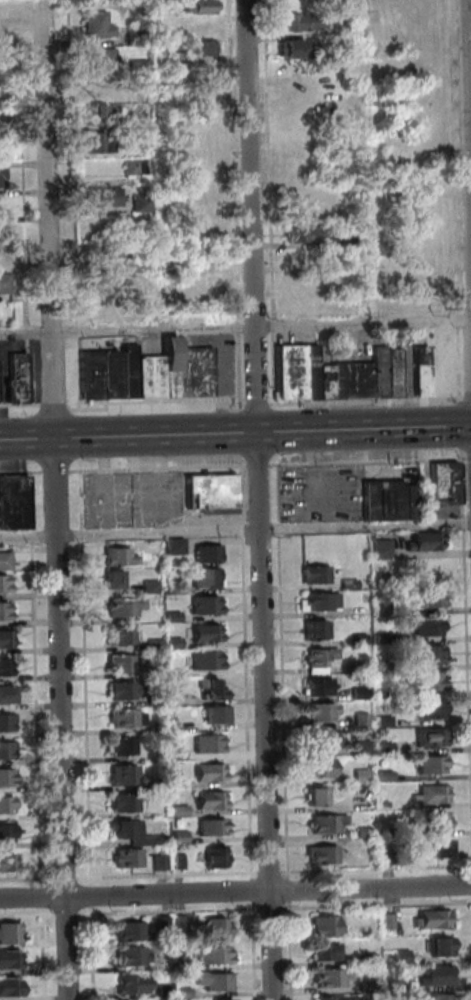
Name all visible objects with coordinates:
building: (194, 6)
building: (336, 7)
building: (420, 17)
building: (296, 22)
building: (90, 23)
building: (337, 25)
building: (199, 29)
building: (130, 35)
building: (337, 41)
road: (52, 43)
road: (22, 45)
building: (197, 47)
building: (288, 47)
building: (337, 53)
building: (170, 56)
building: (93, 58)
building: (131, 66)
building: (333, 70)
building: (94, 88)
building: (89, 115)
road: (467, 134)
building: (93, 143)
road: (448, 151)
building: (128, 166)
building: (0, 176)
building: (133, 181)
building: (141, 182)
building: (97, 195)
building: (134, 203)
road: (228, 203)
road: (263, 203)
building: (0, 205)
road: (65, 206)
road: (16, 226)
building: (2, 229)
building: (299, 233)
building: (343, 240)
building: (102, 249)
building: (1, 255)
building: (5, 283)
building: (204, 283)
building: (103, 307)
building: (299, 308)
road: (235, 326)
road: (459, 352)
building: (170, 367)
building: (291, 371)
building: (312, 371)
building: (129, 372)
building: (381, 372)
building: (422, 372)
building: (195, 373)
building: (394, 373)
building: (90, 375)
building: (112, 375)
building: (17, 377)
building: (150, 378)
road: (221, 380)
building: (354, 380)
building: (326, 381)
road: (468, 398)
road: (141, 401)
road: (91, 402)
road: (366, 402)
road: (19, 404)
road: (256, 404)
road: (233, 405)
road: (53, 407)
road: (461, 425)
road: (364, 429)
road: (129, 437)
road: (470, 459)
road: (369, 462)
road: (258, 465)
road: (158, 468)
road: (55, 470)
road: (21, 471)
building: (446, 483)
building: (211, 490)
road: (133, 495)
road: (55, 498)
parking lot: (131, 499)
road: (259, 499)
building: (391, 500)
building: (14, 502)
building: (426, 503)
road: (235, 530)
building: (372, 537)
building: (426, 541)
building: (175, 545)
building: (383, 548)
building: (209, 553)
building: (119, 555)
building: (5, 560)
building: (317, 575)
building: (205, 577)
building: (112, 578)
building: (4, 584)
building: (350, 584)
road: (466, 585)
building: (151, 586)
building: (173, 588)
building: (429, 599)
building: (323, 601)
building: (207, 604)
building: (126, 606)
building: (382, 609)
building: (6, 611)
building: (173, 617)
building: (427, 626)
building: (315, 630)
building: (207, 633)
building: (121, 635)
building: (384, 638)
building: (7, 639)
building: (360, 639)
building: (174, 643)
building: (156, 644)
building: (428, 654)
building: (323, 657)
building: (209, 660)
building: (124, 663)
building: (384, 665)
building: (360, 666)
building: (5, 668)
building: (318, 670)
road: (247, 673)
road: (284, 673)
road: (86, 677)
road: (36, 679)
building: (431, 682)
building: (320, 687)
building: (212, 689)
building: (126, 690)
building: (7, 693)
building: (362, 694)
building: (384, 695)
building: (156, 700)
building: (434, 709)
building: (323, 712)
building: (217, 715)
building: (127, 718)
building: (363, 720)
building: (386, 721)
building: (8, 722)
building: (159, 727)
building: (432, 736)
building: (328, 739)
building: (210, 743)
building: (124, 746)
building: (365, 747)
building: (387, 748)
building: (8, 750)
building: (179, 754)
building: (434, 765)
building: (321, 766)
building: (211, 772)
building: (126, 775)
building: (387, 776)
building: (7, 777)
building: (180, 782)
building: (158, 783)
building: (434, 794)
building: (319, 796)
building: (214, 800)
building: (128, 802)
building: (388, 804)
building: (8, 805)
building: (182, 811)
building: (436, 820)
building: (330, 823)
building: (214, 827)
building: (368, 832)
building: (8, 833)
building: (137, 833)
building: (181, 837)
building: (443, 847)
building: (325, 854)
building: (391, 856)
building: (218, 857)
building: (130, 858)
building: (181, 861)
building: (162, 862)
building: (9, 863)
road: (377, 869)
road: (272, 872)
road: (169, 875)
road: (21, 879)
road: (67, 879)
road: (50, 880)
road: (235, 890)
road: (255, 891)
road: (291, 891)
road: (93, 896)
road: (43, 898)
road: (378, 905)
road: (274, 909)
road: (171, 911)
road: (69, 914)
road: (28, 915)
building: (435, 919)
building: (391, 921)
building: (166, 923)
building: (184, 923)
building: (327, 926)
building: (220, 929)
building: (134, 931)
building: (11, 933)
building: (444, 946)
road: (256, 950)
road: (292, 951)
building: (328, 951)
road: (95, 952)
road: (45, 954)
building: (215, 955)
building: (134, 956)
building: (404, 956)
building: (371, 959)
building: (11, 960)
building: (185, 964)
building: (440, 975)
building: (336, 977)
building: (217, 980)
building: (137, 984)
building: (401, 986)
building: (12, 987)
building: (372, 987)
building: (168, 991)
building: (186, 993)
building: (444, 996)
building: (334, 998)
building: (223, 999)

